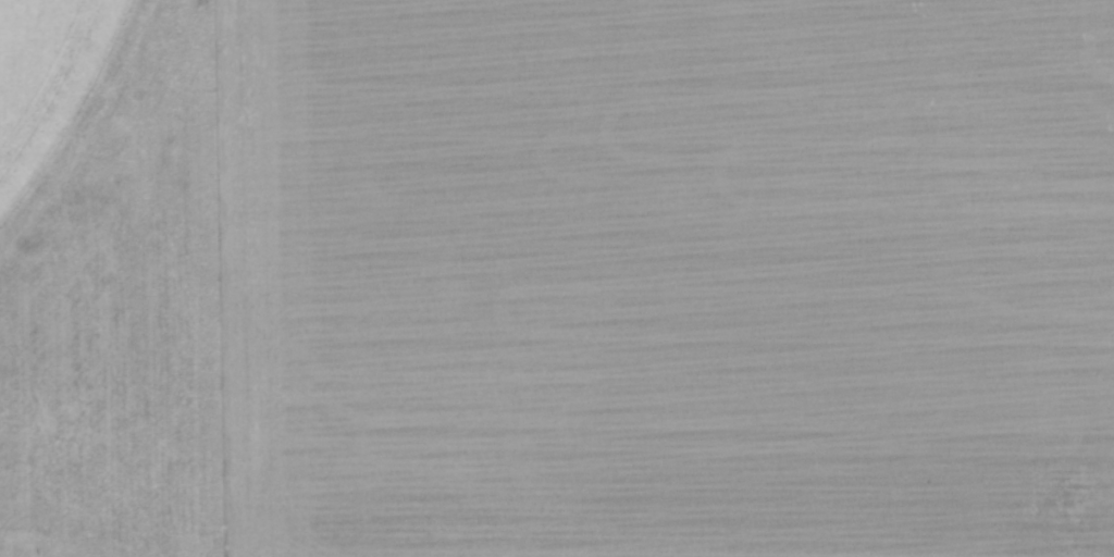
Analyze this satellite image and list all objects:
crop: (63, 102)
crop: (665, 277)

